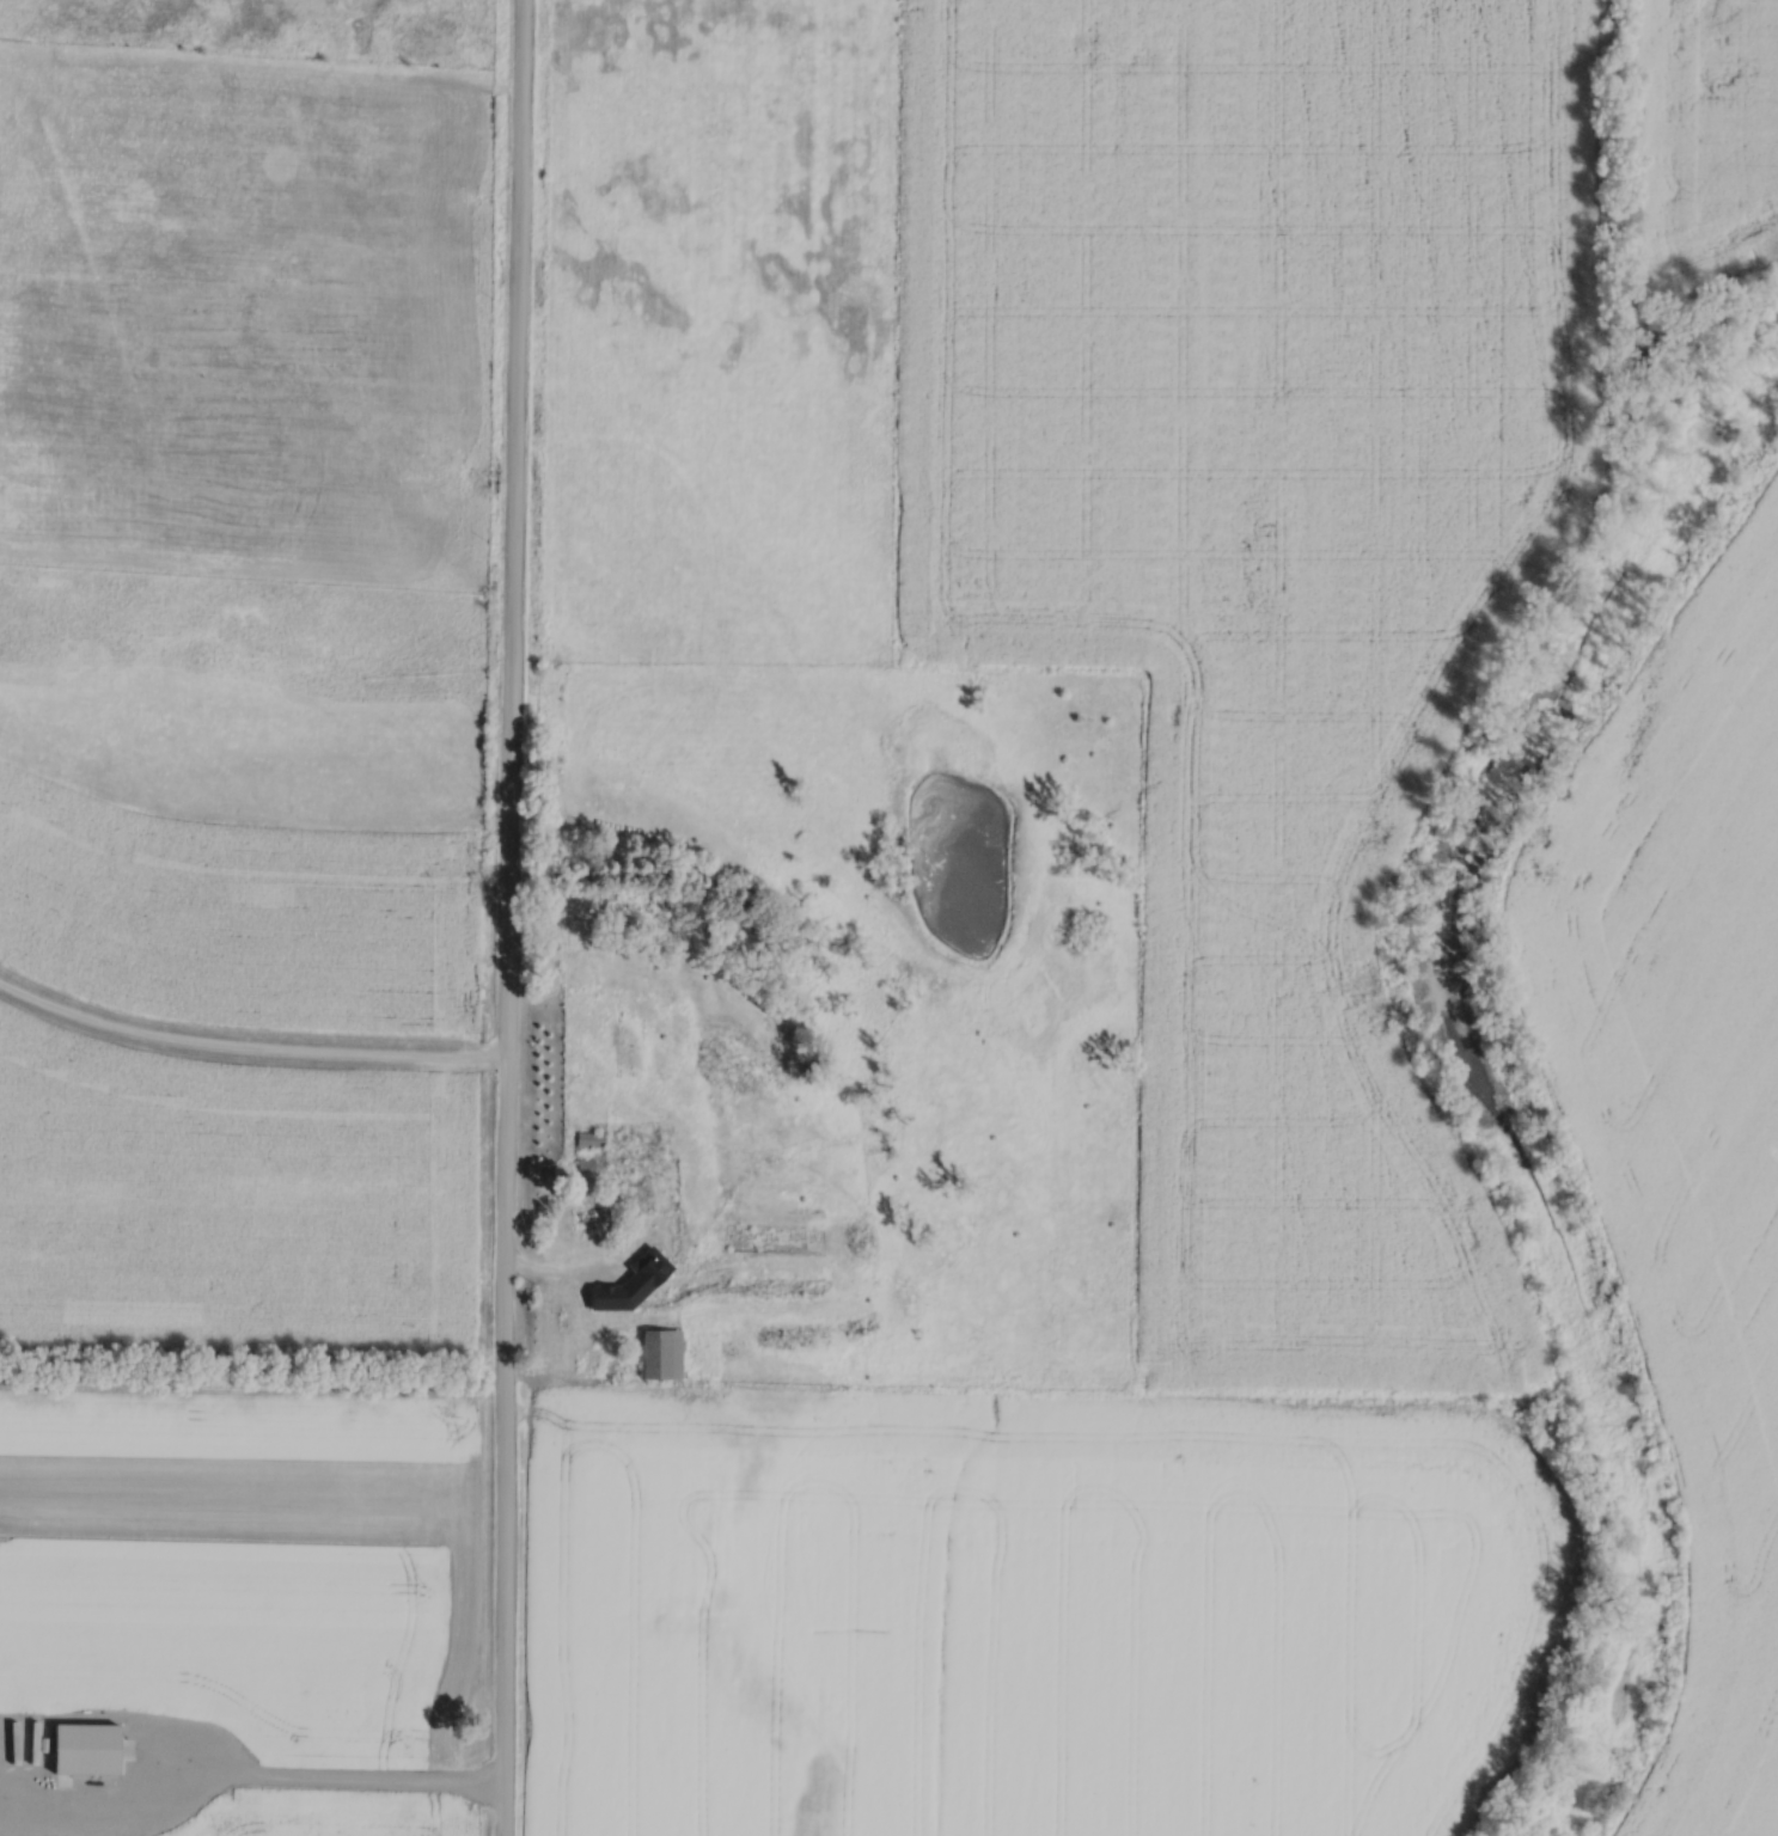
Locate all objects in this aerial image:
road: (511, 917)
road: (250, 1046)
building: (593, 1138)
building: (592, 1217)
building: (624, 1298)
building: (667, 1353)
airport runway: (222, 1470)
airport: (250, 1618)
road: (342, 1773)

